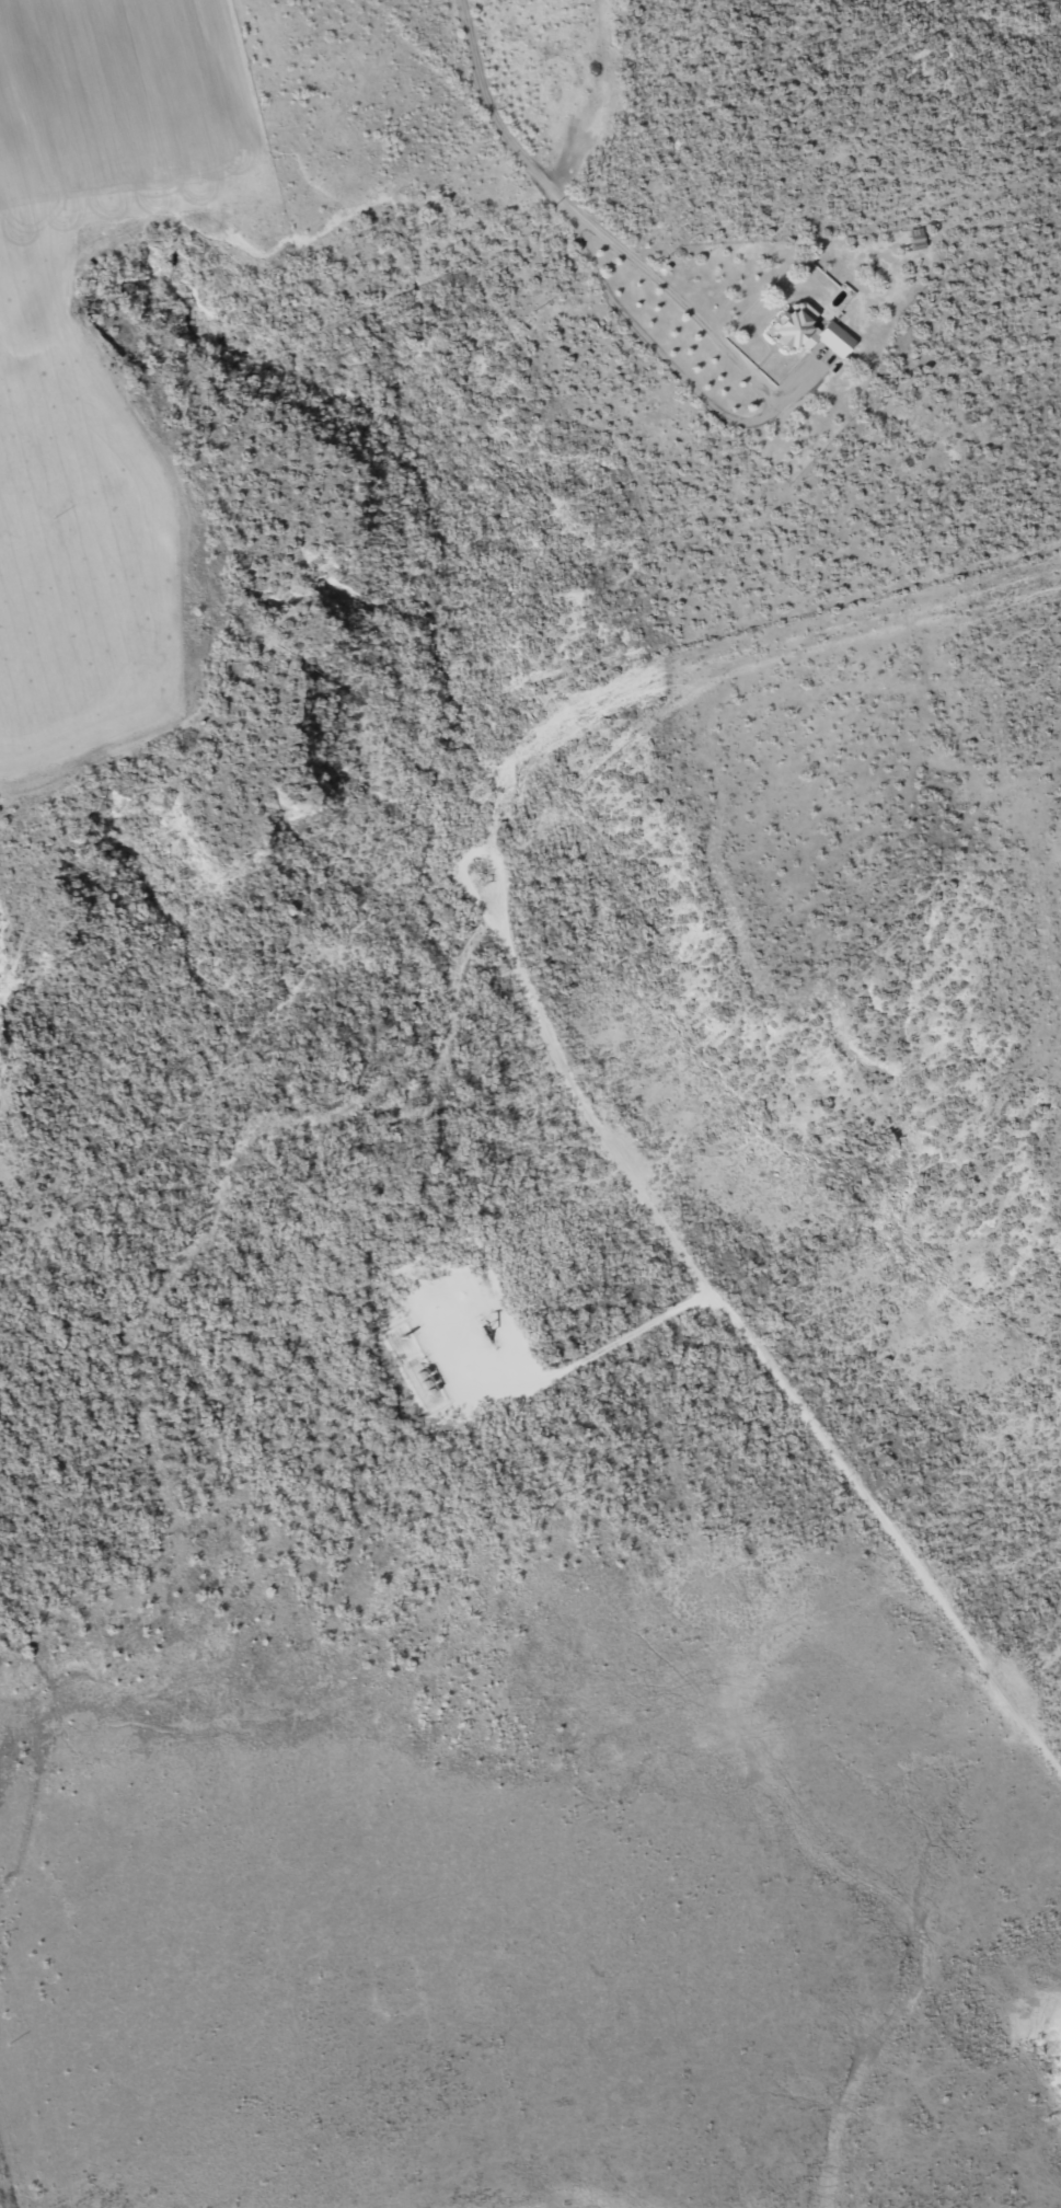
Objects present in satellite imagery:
road: (485, 108)
building: (918, 237)
building: (808, 332)
road: (759, 415)

